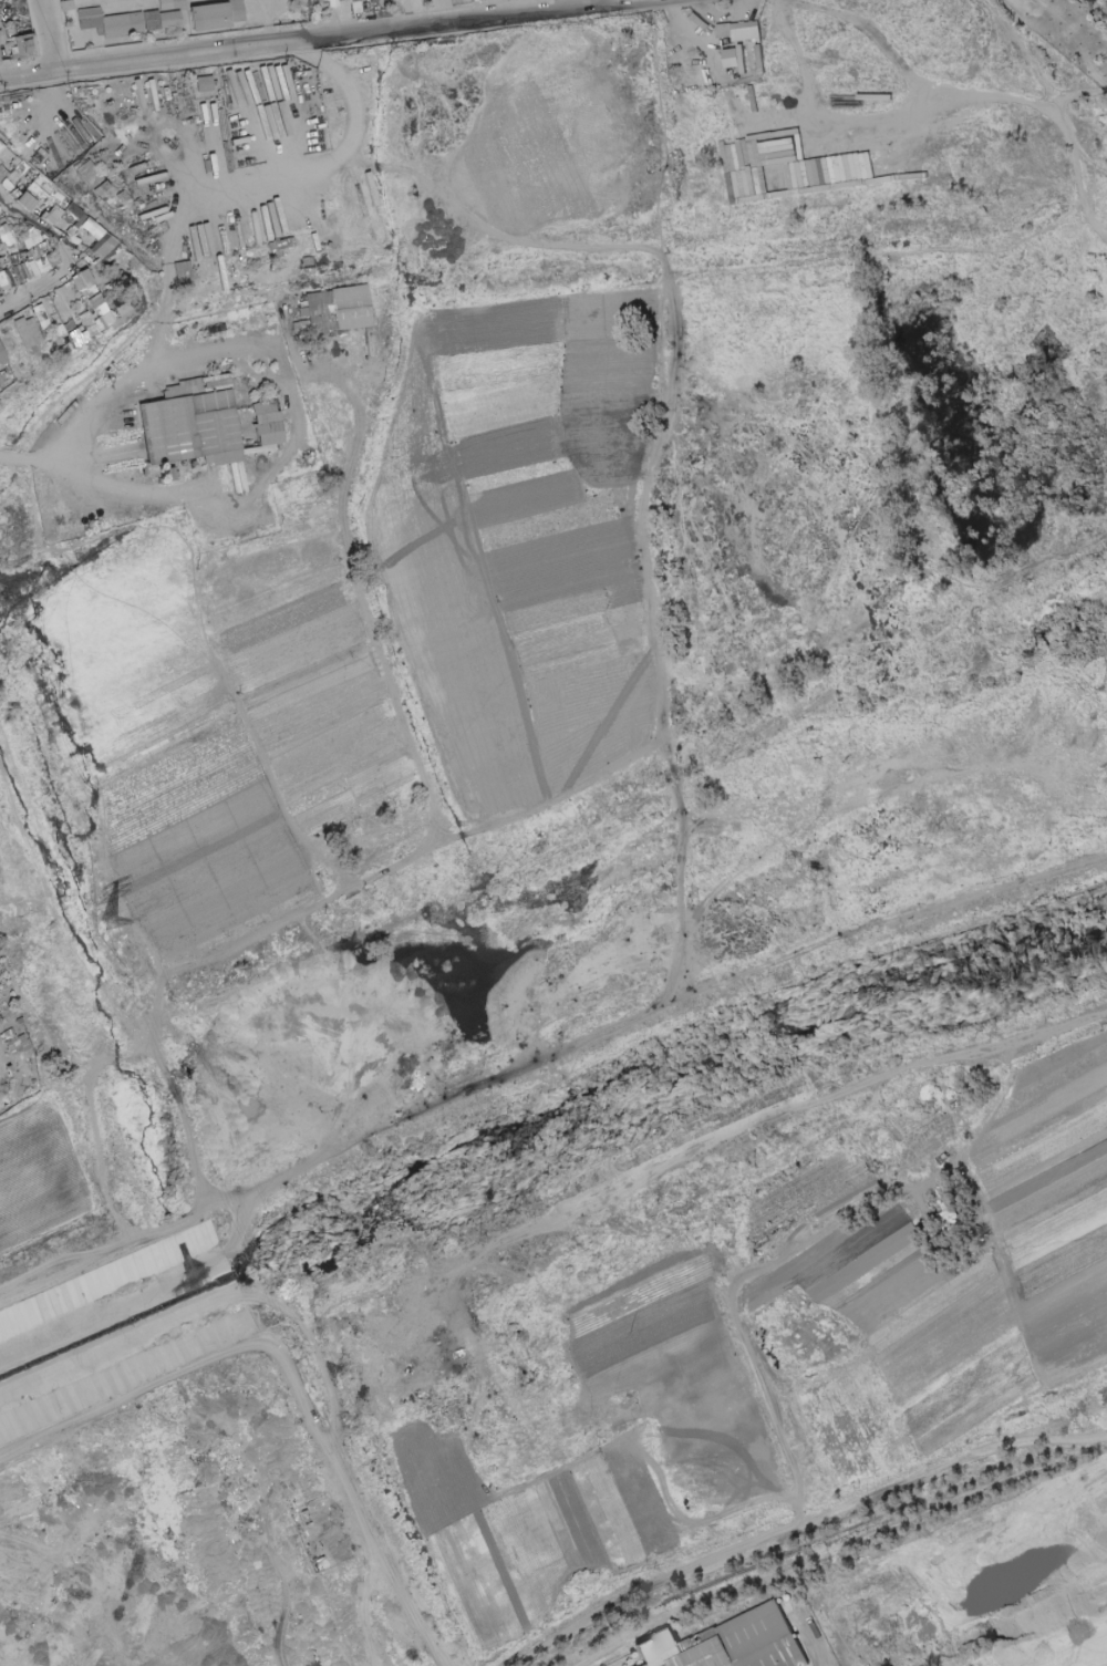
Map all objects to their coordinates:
park: (1100, 6)
crop: (575, 134)
crop: (511, 541)
crop: (221, 727)
crop: (785, 1374)

